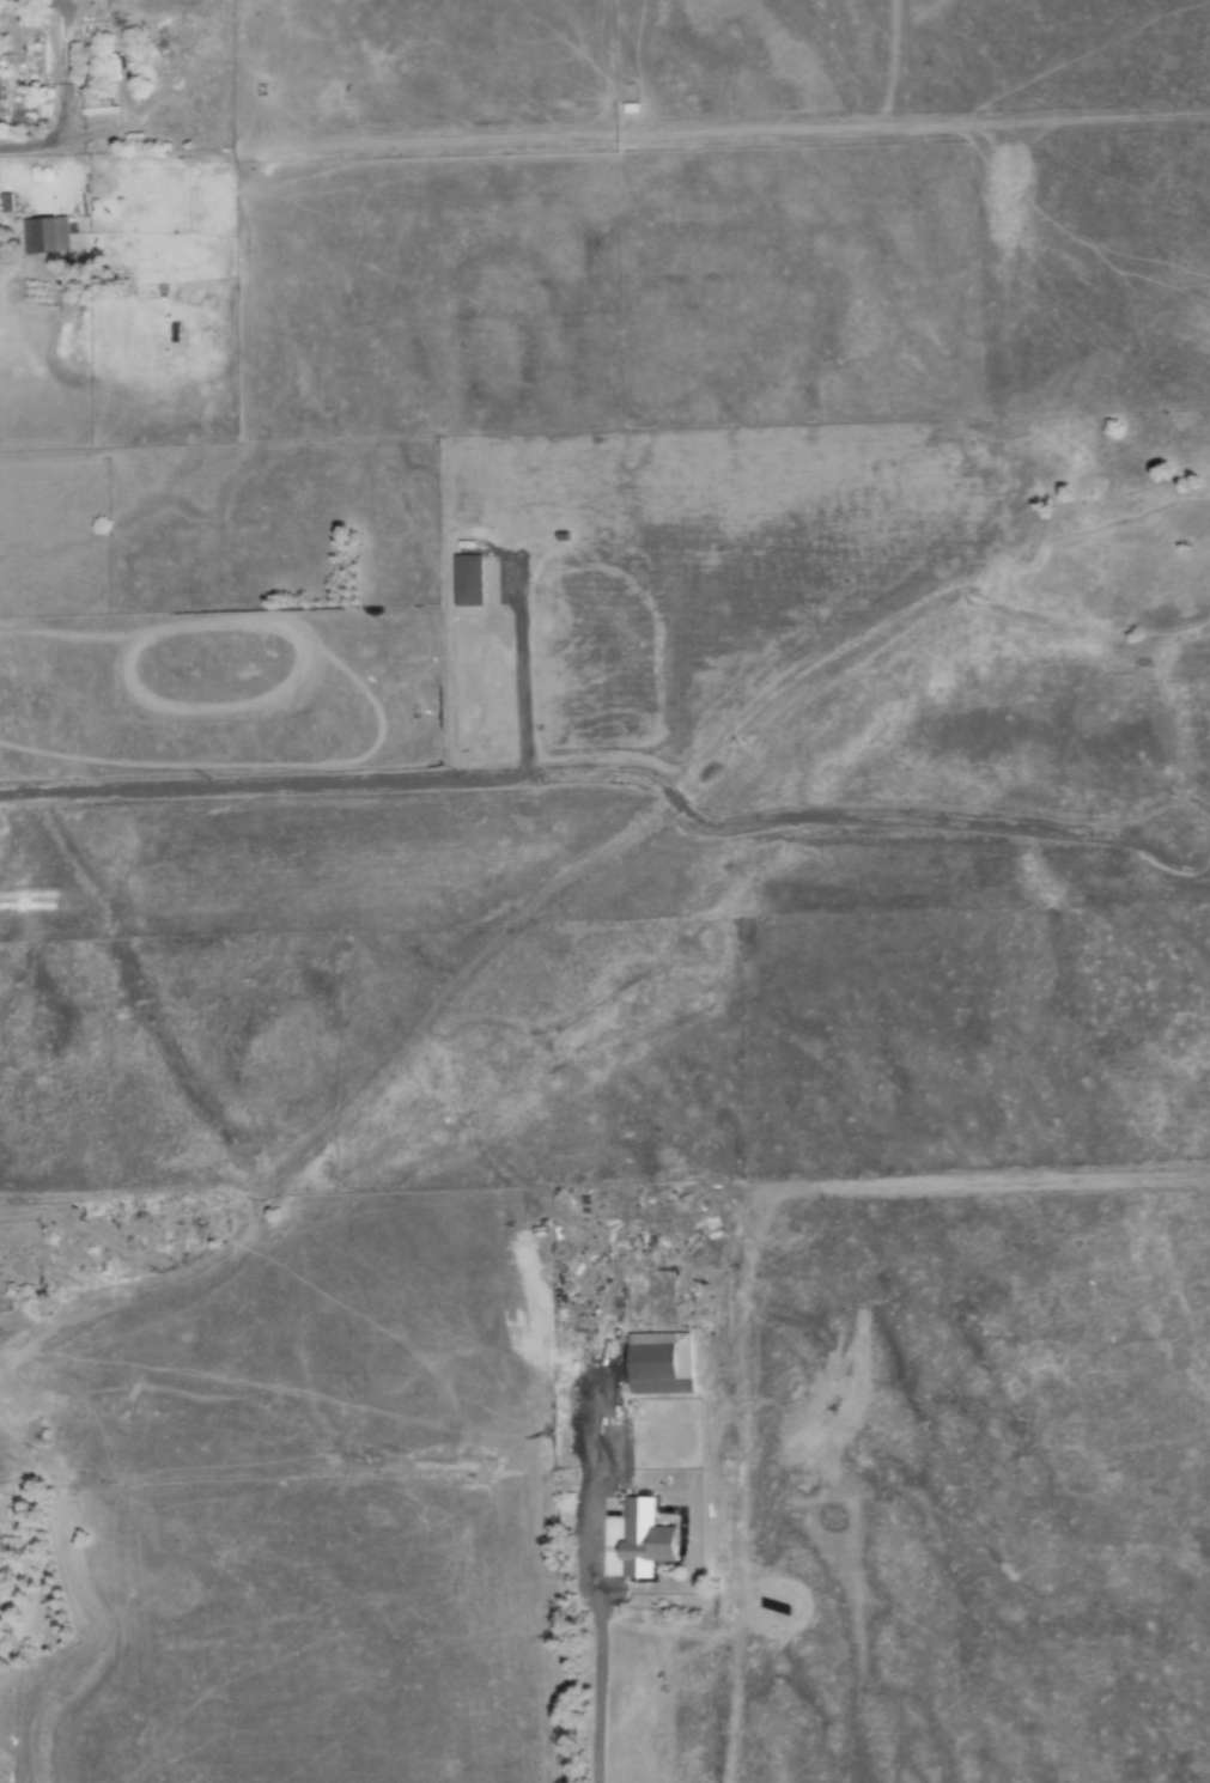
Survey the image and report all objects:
building: (87, 90)
road: (65, 102)
building: (48, 235)
building: (661, 1363)
building: (647, 1539)
road: (586, 1656)

